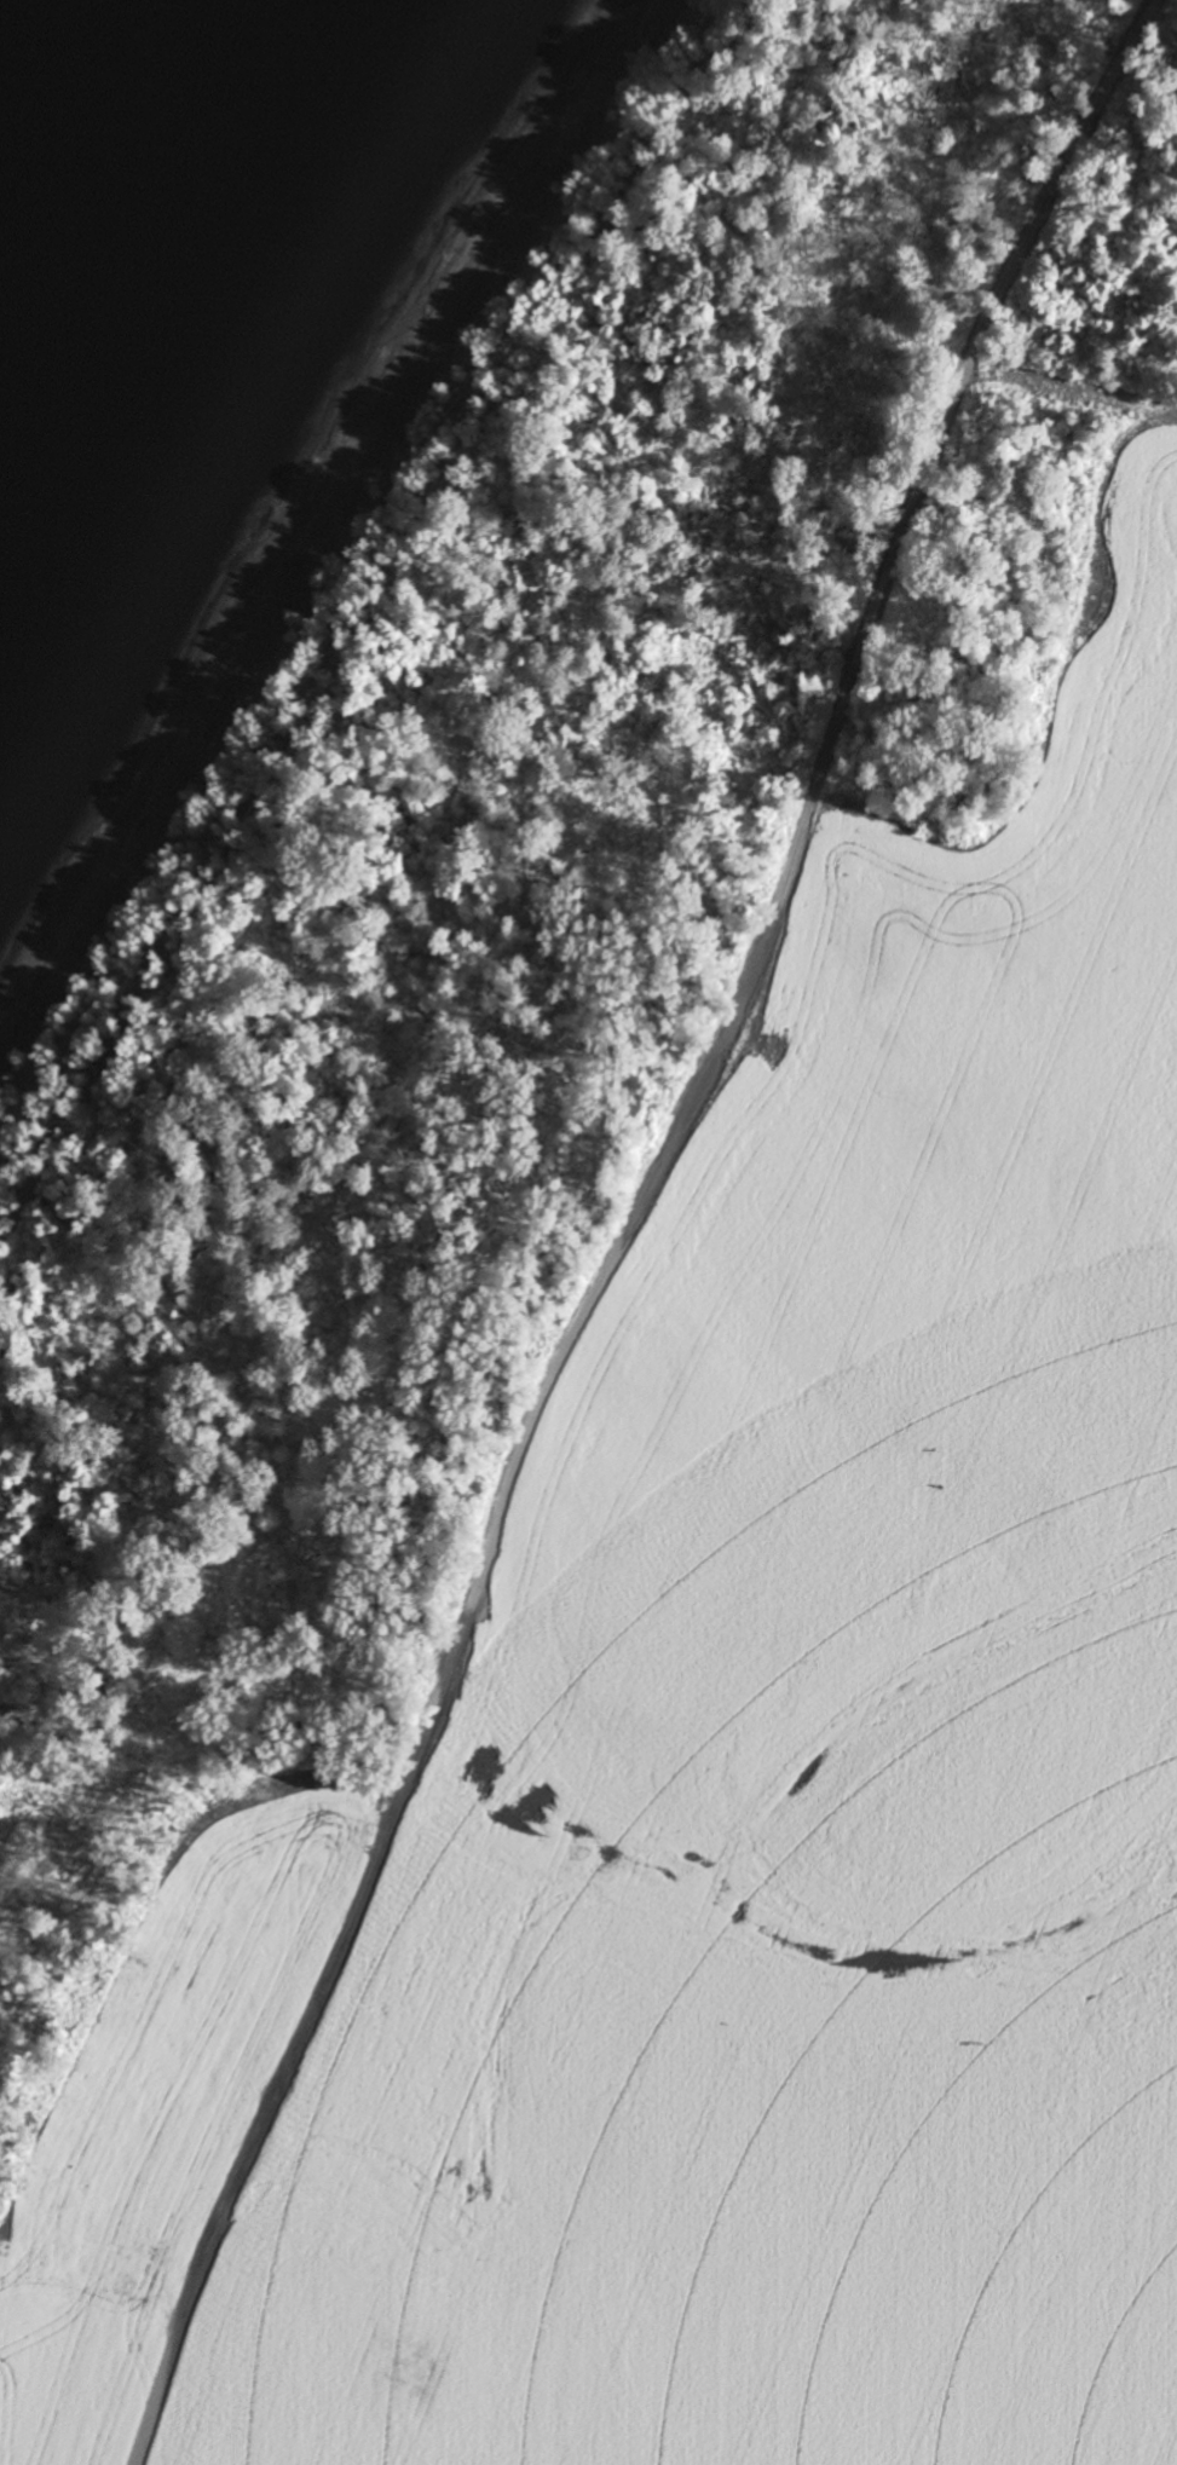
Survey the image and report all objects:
road: (627, 1223)

